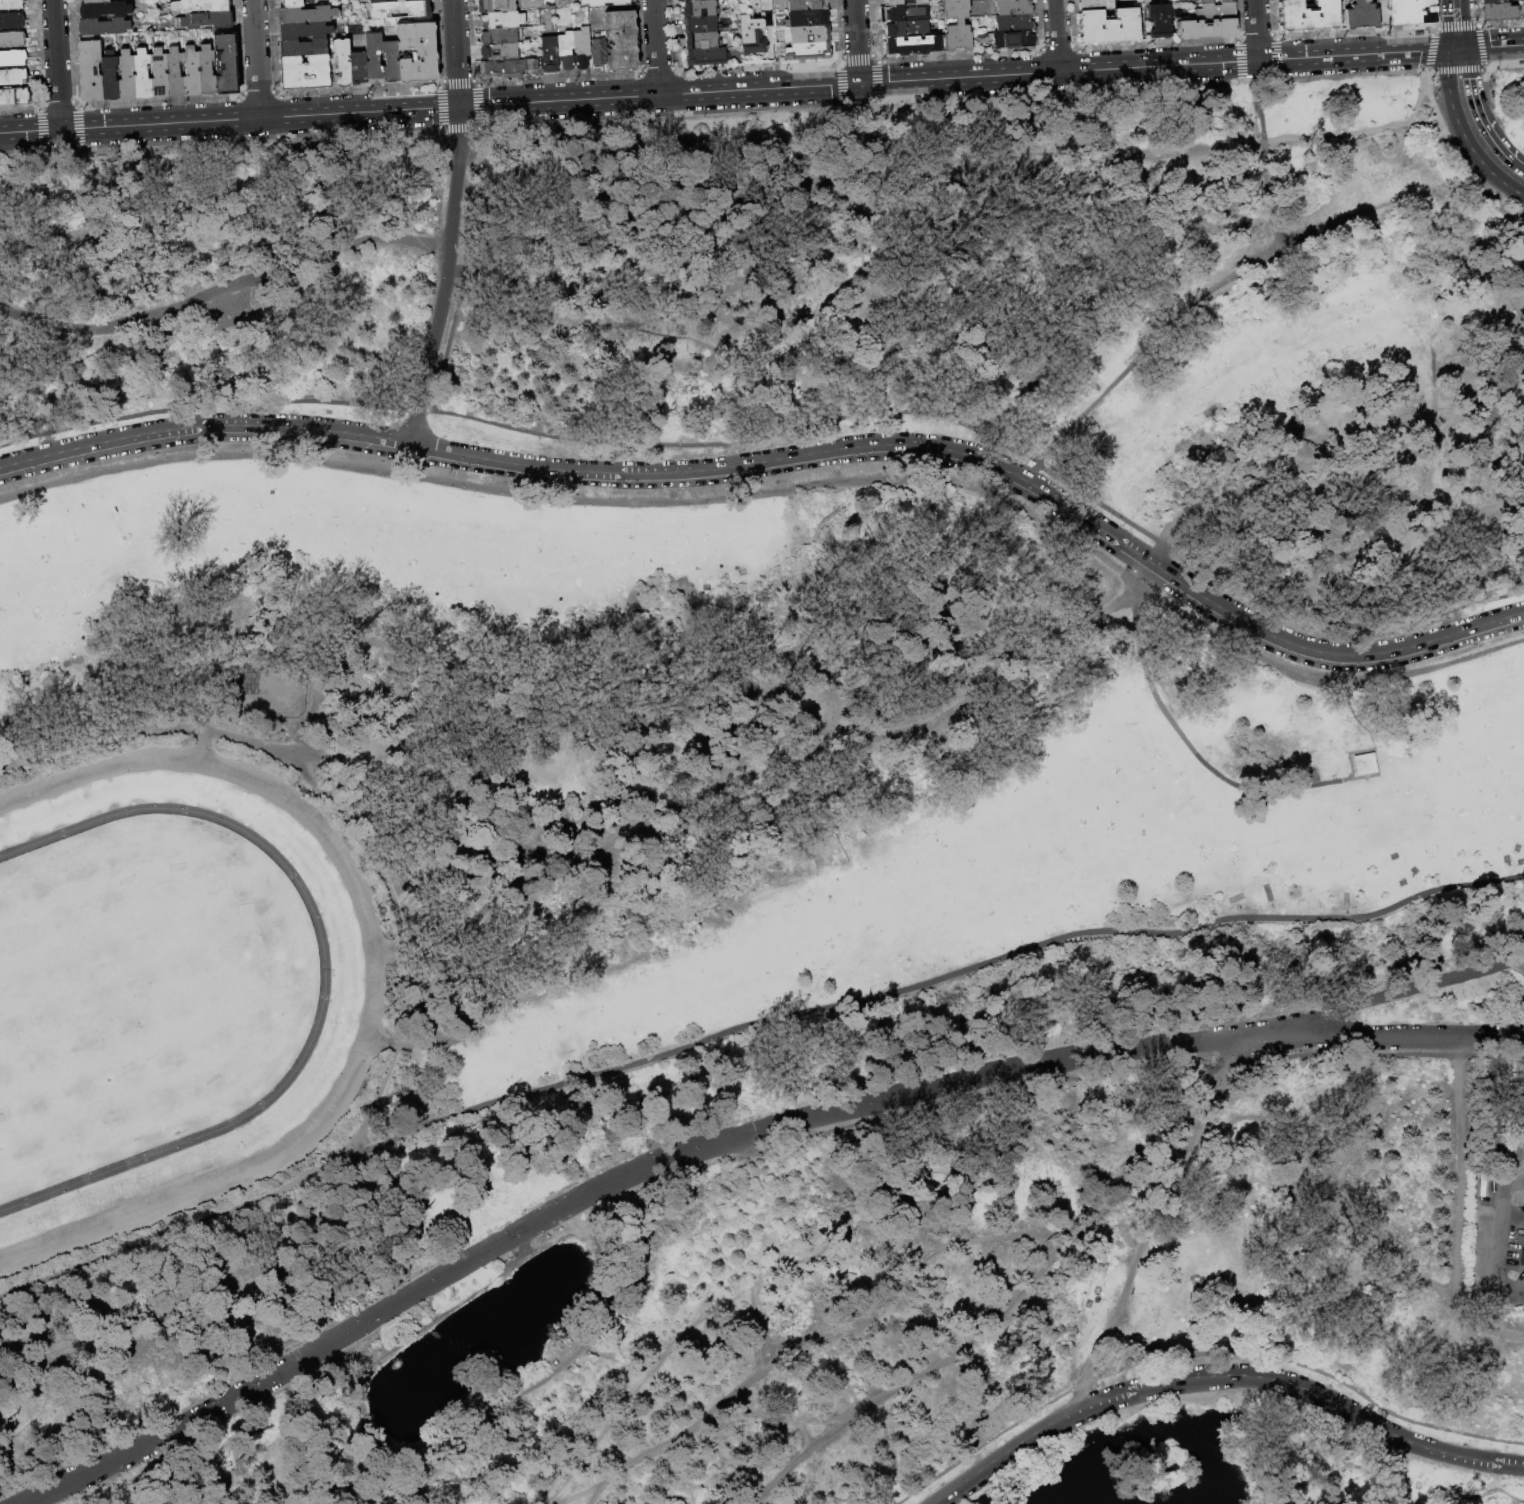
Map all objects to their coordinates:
building: (690, 0)
building: (1192, 0)
building: (96, 1)
building: (380, 1)
building: (418, 1)
building: (1213, 1)
building: (1492, 1)
building: (605, 2)
building: (904, 2)
building: (11, 4)
building: (292, 4)
road: (1455, 4)
building: (808, 5)
building: (1096, 5)
building: (497, 6)
building: (767, 6)
building: (201, 7)
building: (1014, 7)
building: (700, 8)
building: (105, 10)
building: (400, 10)
building: (1216, 11)
building: (1410, 11)
building: (1498, 12)
building: (907, 13)
building: (1359, 14)
building: (307, 15)
building: (1308, 16)
building: (808, 18)
building: (502, 20)
building: (12, 21)
building: (205, 21)
building: (1160, 21)
building: (1015, 23)
building: (701, 25)
building: (958, 25)
building: (104, 27)
building: (1112, 27)
road: (1457, 27)
building: (908, 29)
building: (1207, 29)
road: (1478, 29)
building: (304, 30)
road: (1257, 30)
road: (1353, 33)
building: (810, 35)
road: (1056, 35)
building: (500, 36)
building: (754, 36)
building: (12, 40)
building: (1013, 40)
building: (622, 41)
building: (703, 41)
road: (857, 41)
building: (913, 45)
road: (1155, 45)
road: (1491, 46)
road: (657, 47)
building: (304, 48)
traffic signals: (1458, 48)
building: (583, 49)
building: (567, 51)
building: (809, 52)
building: (418, 53)
road: (456, 53)
building: (499, 53)
building: (599, 54)
building: (550, 55)
road: (955, 55)
building: (706, 57)
building: (12, 58)
road: (256, 58)
building: (374, 59)
road: (1453, 59)
road: (1258, 60)
building: (391, 62)
building: (343, 63)
road: (56, 64)
building: (227, 64)
building: (359, 68)
building: (90, 69)
building: (511, 69)
building: (207, 71)
building: (173, 72)
building: (191, 72)
building: (305, 73)
building: (158, 74)
building: (141, 75)
building: (125, 76)
building: (14, 77)
building: (109, 79)
road: (759, 88)
building: (15, 97)
road: (1261, 100)
traffic signals: (460, 106)
road: (1478, 111)
road: (1434, 114)
road: (229, 118)
road: (1406, 135)
road: (1438, 140)
road: (1469, 143)
road: (1464, 153)
road: (16, 156)
road: (1520, 167)
road: (705, 175)
road: (1488, 191)
road: (1265, 197)
road: (447, 277)
road: (1216, 286)
road: (225, 287)
road: (204, 427)
road: (787, 432)
road: (993, 466)
road: (786, 492)
road: (1156, 552)
road: (206, 642)
road: (681, 708)
road: (764, 747)
road: (950, 757)
building: (1364, 765)
road: (358, 803)
park: (770, 807)
road: (493, 813)
road: (52, 836)
track: (52, 836)
building: (1312, 874)
park: (41, 941)
park: (184, 957)
road: (924, 979)
stadium: (172, 988)
track: (170, 989)
road: (1377, 998)
track: (372, 1009)
road: (314, 1031)
track: (314, 1031)
road: (1377, 1036)
road: (1210, 1045)
park: (67, 1095)
road: (749, 1146)
road: (1028, 1153)
road: (1459, 1171)
road: (317, 1175)
road: (470, 1179)
road: (1464, 1179)
road: (1509, 1183)
building: (1483, 1185)
road: (578, 1199)
road: (1356, 1205)
road: (759, 1209)
road: (1512, 1218)
road: (861, 1219)
road: (905, 1221)
road: (273, 1227)
road: (1026, 1233)
building: (1521, 1233)
road: (145, 1241)
road: (1494, 1254)
building: (1520, 1257)
road: (1139, 1258)
road: (356, 1261)
road: (1029, 1277)
road: (1509, 1290)
road: (274, 1294)
road: (101, 1328)
road: (569, 1354)
road: (386, 1355)
road: (1200, 1355)
road: (18, 1358)
road: (1221, 1375)
road: (643, 1377)
road: (736, 1392)
road: (40, 1402)
road: (771, 1406)
road: (372, 1416)
road: (472, 1436)
road: (1259, 1439)
road: (788, 1465)
road: (358, 1472)
road: (1400, 1473)
road: (1479, 1486)
road: (1497, 1486)
road: (587, 1493)
road: (1298, 1493)
road: (1504, 1494)
road: (1440, 1501)

